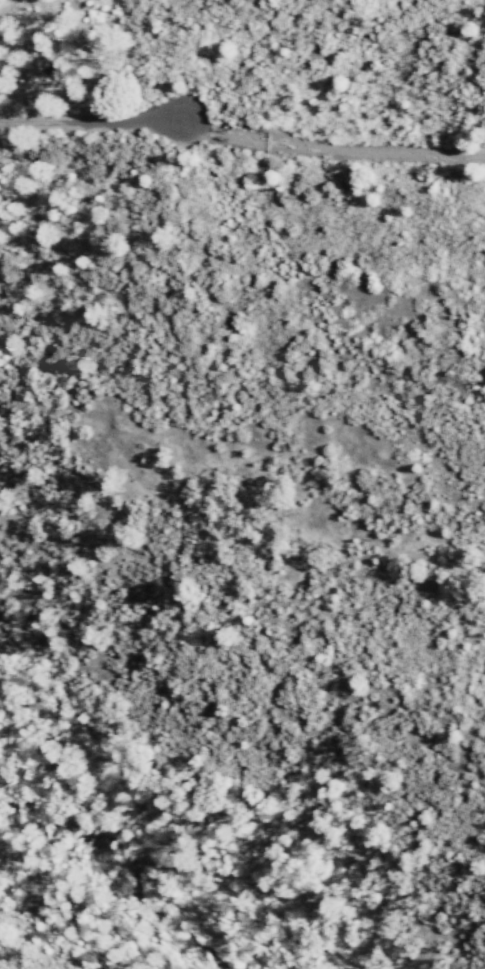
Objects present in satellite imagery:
road: (91, 124)
road: (332, 151)

